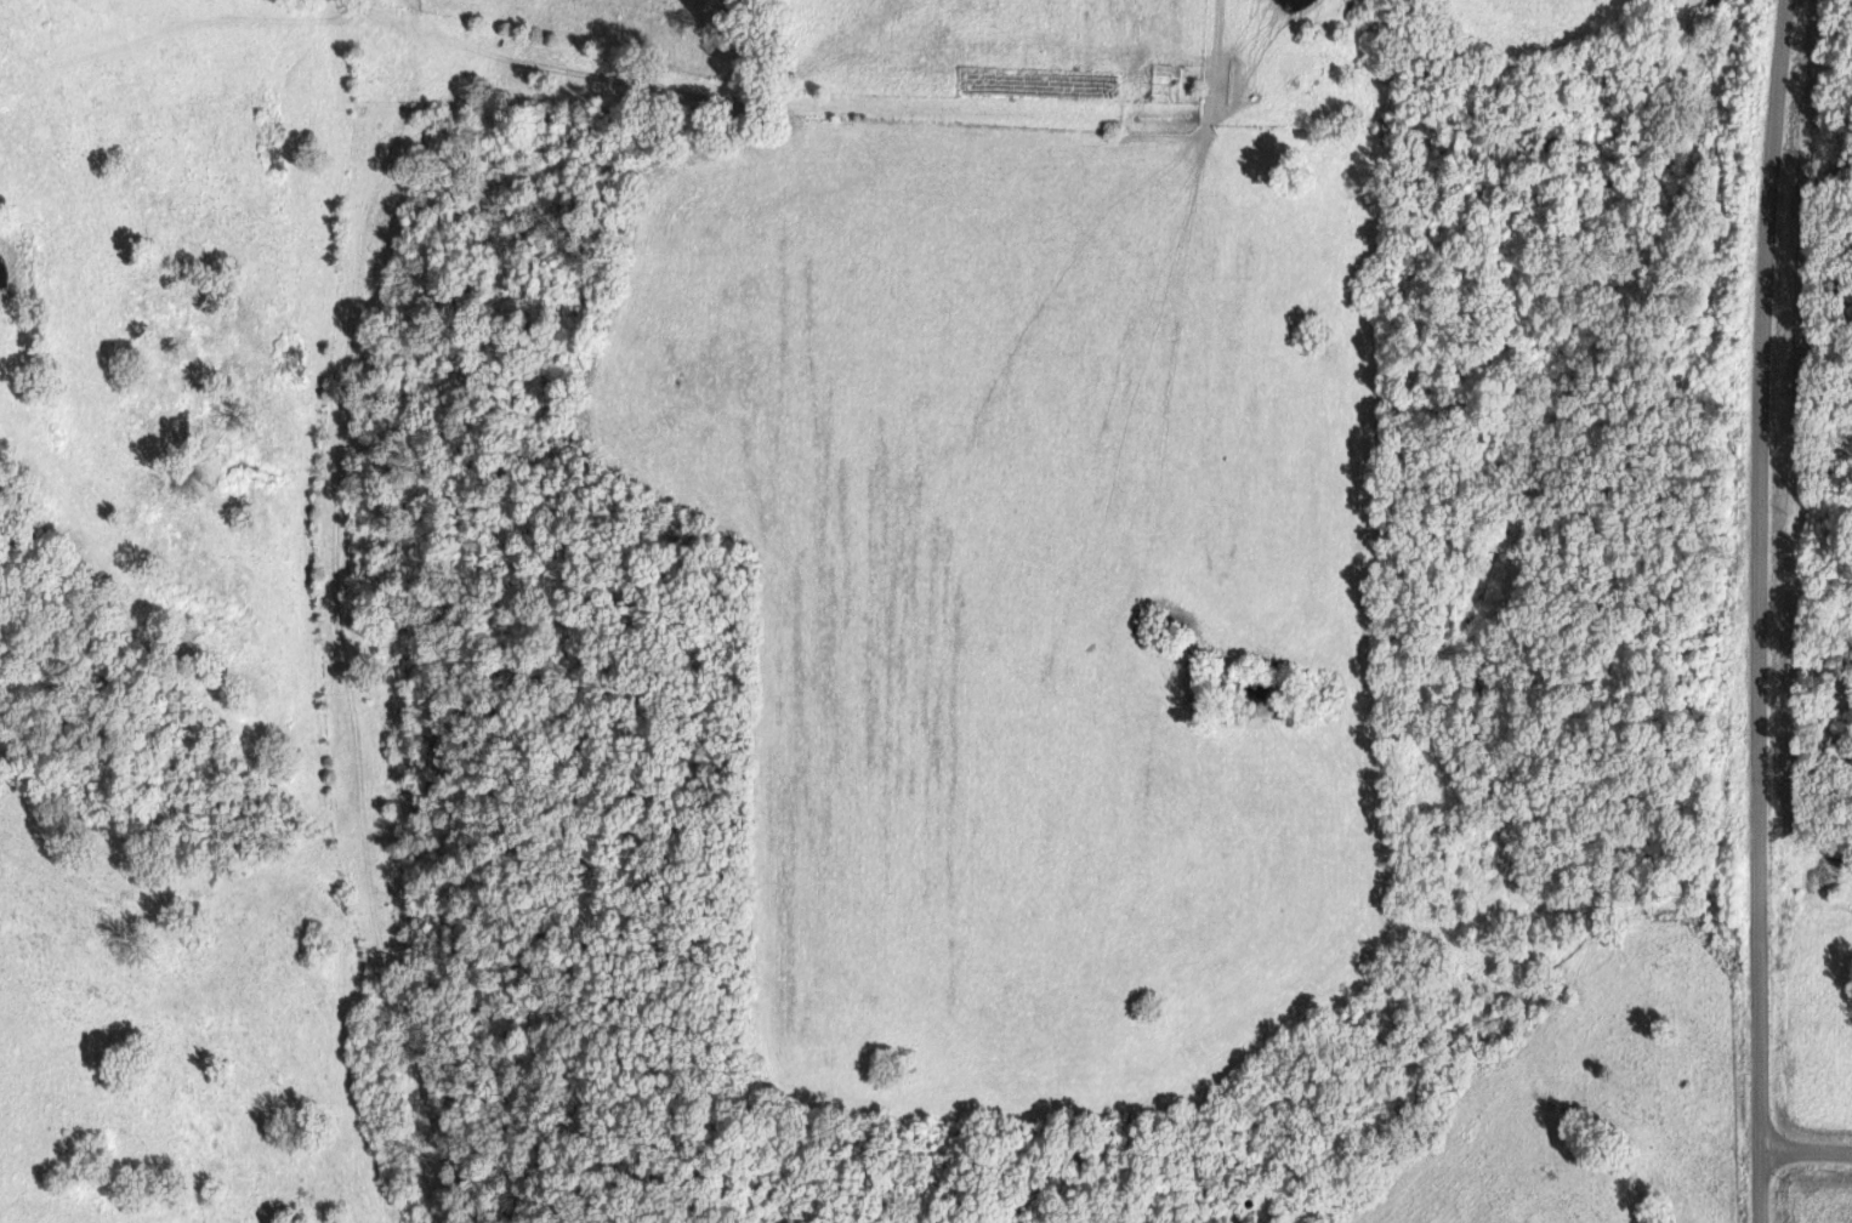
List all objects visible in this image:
road: (1488, 587)
road: (1443, 1062)
road: (1786, 1164)

